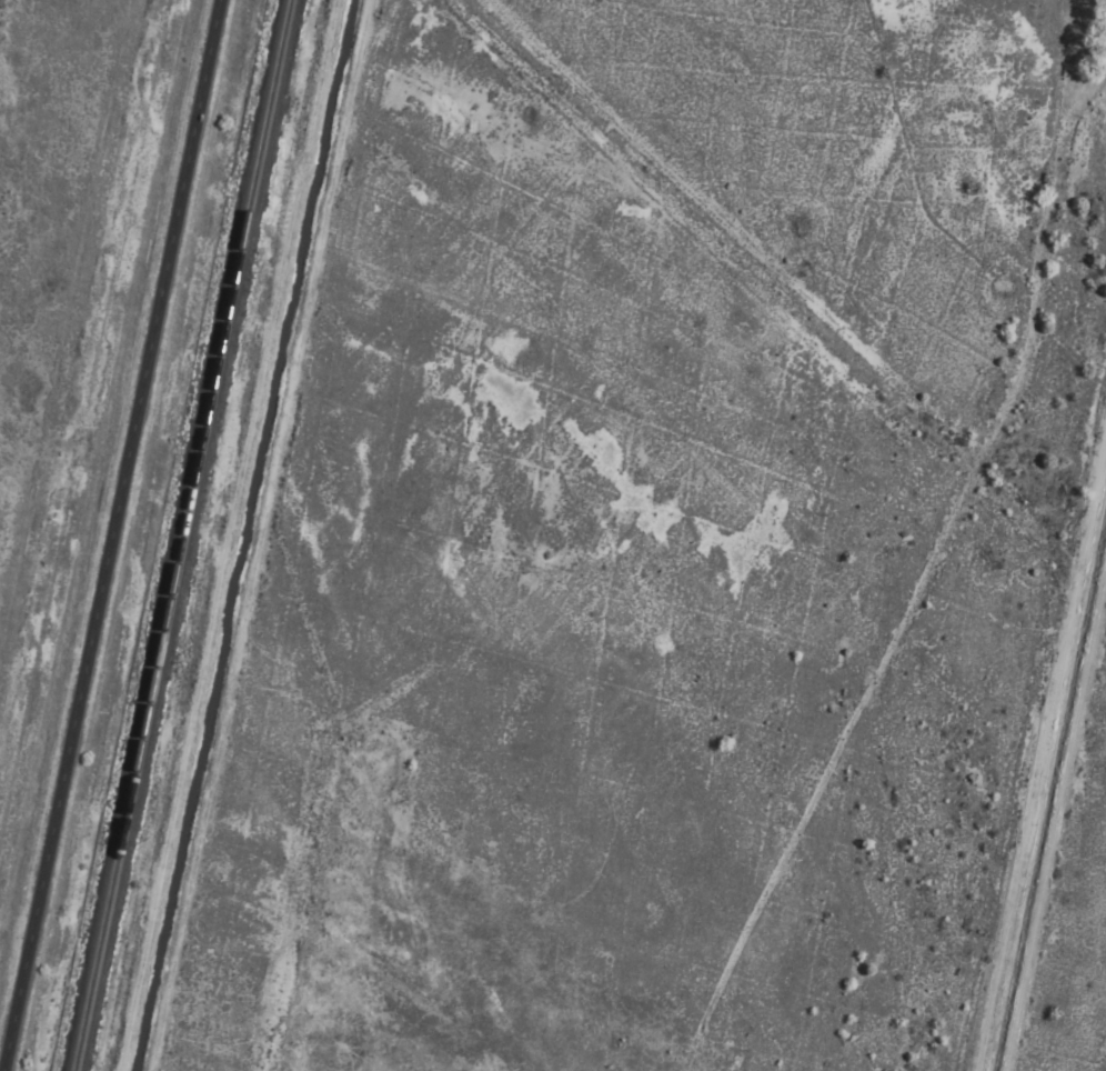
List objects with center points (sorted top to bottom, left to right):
road: (109, 535)
railway: (178, 535)
road: (228, 535)
road: (258, 535)
road: (1040, 748)
road: (1055, 818)

